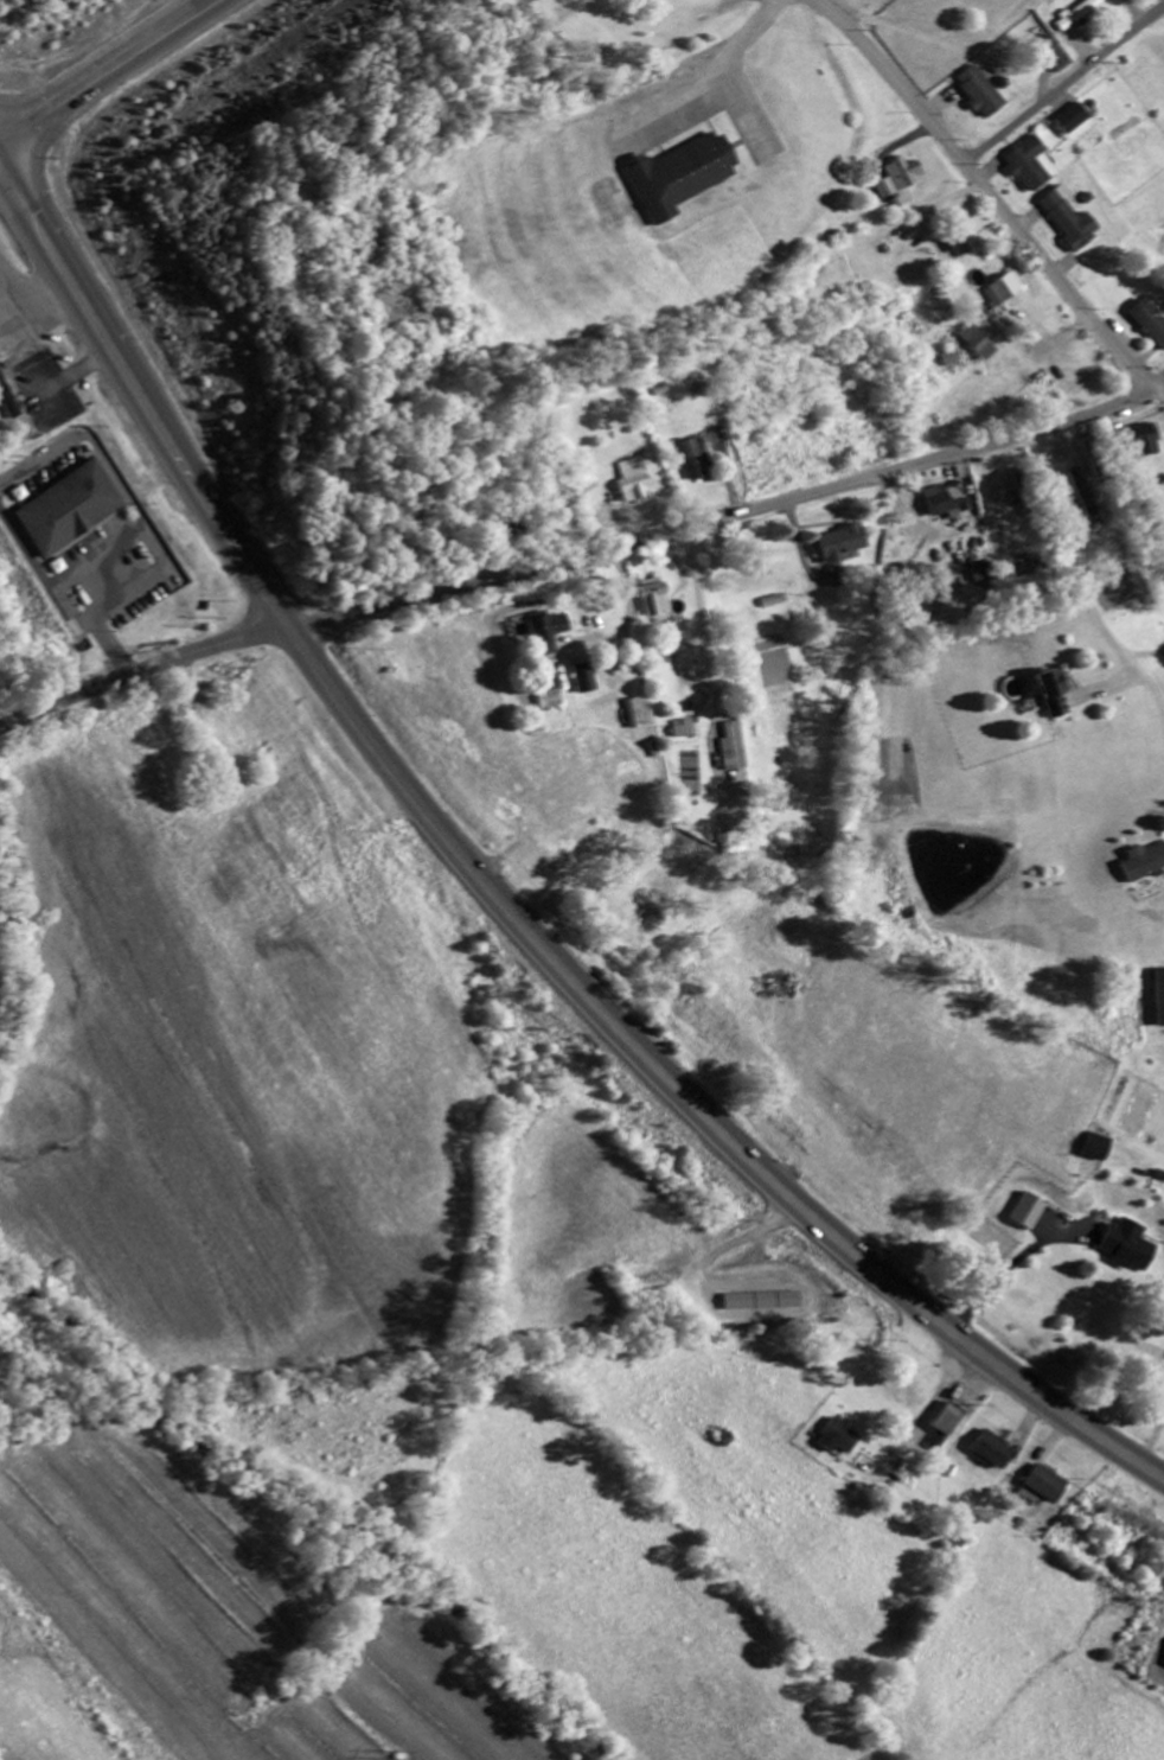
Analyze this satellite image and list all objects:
building: (1081, 15)
building: (1060, 62)
road: (116, 75)
road: (1066, 85)
building: (983, 96)
building: (1076, 125)
building: (1034, 167)
building: (679, 176)
building: (902, 179)
road: (989, 191)
building: (1073, 221)
building: (966, 248)
building: (1005, 291)
building: (1153, 321)
building: (979, 344)
building: (7, 403)
building: (1149, 441)
building: (698, 459)
building: (637, 483)
building: (1085, 495)
building: (948, 500)
building: (69, 510)
road: (728, 517)
building: (843, 544)
road: (95, 555)
building: (1032, 570)
building: (985, 574)
road: (1081, 581)
building: (658, 599)
building: (548, 633)
road: (687, 640)
road: (142, 671)
building: (586, 680)
building: (1055, 694)
building: (550, 701)
building: (639, 714)
building: (684, 729)
building: (735, 748)
building: (1144, 865)
road: (495, 898)
building: (1159, 999)
building: (1095, 1149)
building: (1029, 1213)
road: (665, 1246)
building: (1128, 1248)
building: (765, 1303)
building: (948, 1422)
building: (839, 1440)
building: (996, 1452)
building: (1047, 1486)

